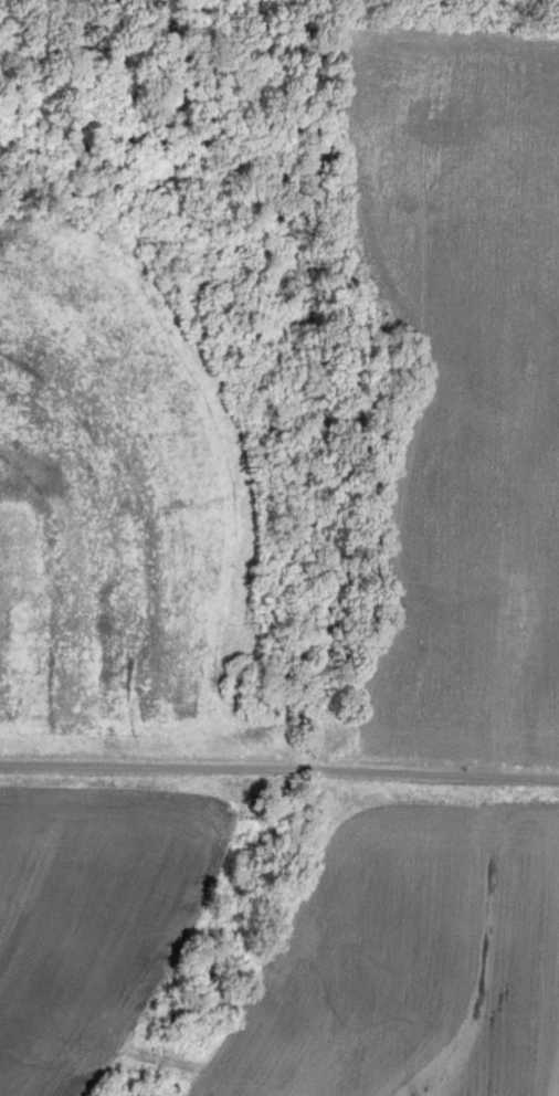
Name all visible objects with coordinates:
road: (279, 772)

